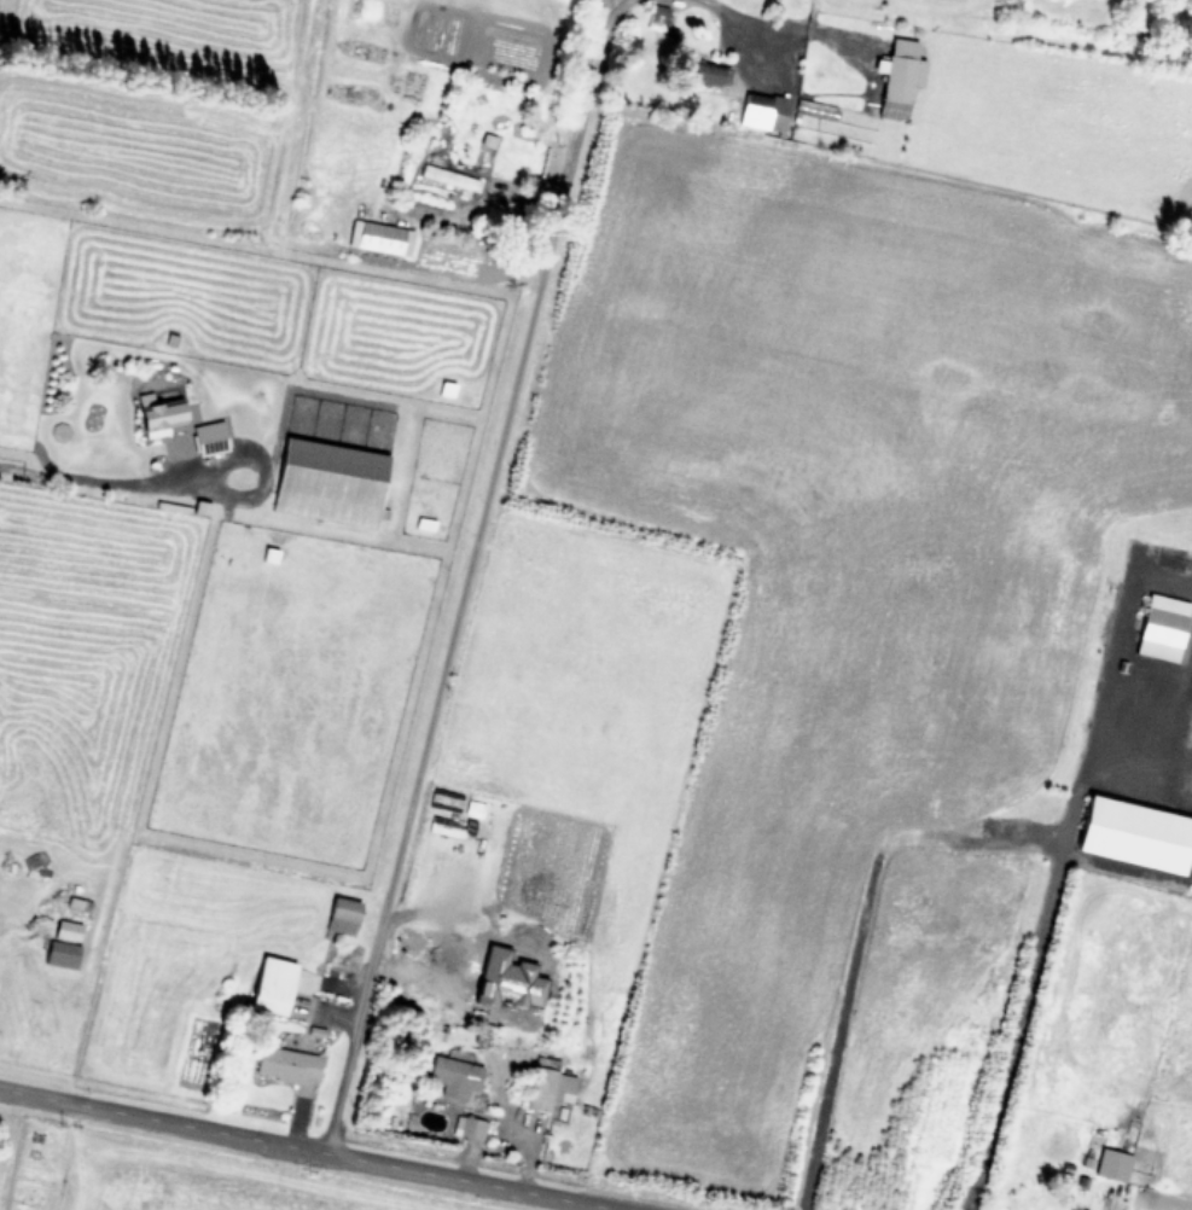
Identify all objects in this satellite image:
road: (611, 12)
road: (780, 25)
building: (699, 71)
building: (901, 78)
building: (764, 111)
building: (449, 178)
road: (487, 199)
building: (380, 238)
building: (117, 420)
building: (162, 450)
road: (104, 477)
building: (330, 482)
building: (1170, 555)
crop: (612, 577)
road: (460, 592)
building: (1163, 627)
building: (1135, 834)
building: (82, 898)
building: (343, 914)
road: (850, 935)
building: (63, 952)
road: (1027, 953)
building: (273, 984)
building: (287, 1065)
building: (455, 1078)
building: (548, 1086)
building: (472, 1128)
road: (309, 1150)
building: (1112, 1164)
crop: (180, 1175)
building: (1072, 1209)

